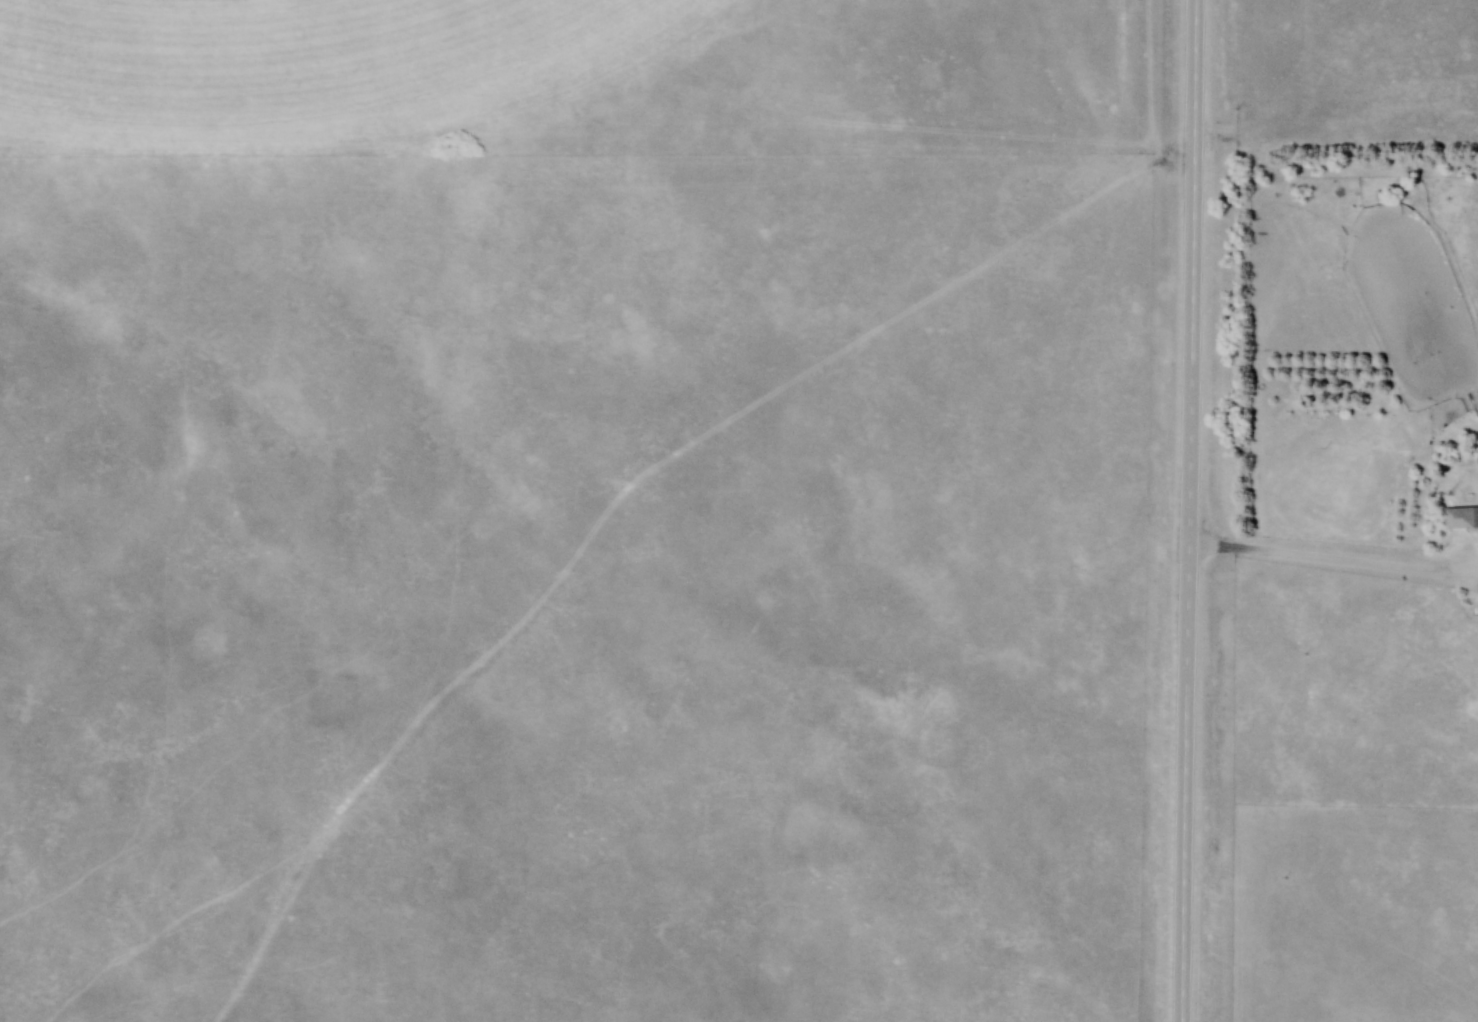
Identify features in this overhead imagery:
building: (1427, 422)
road: (1187, 511)
building: (1461, 519)
road: (1332, 567)

